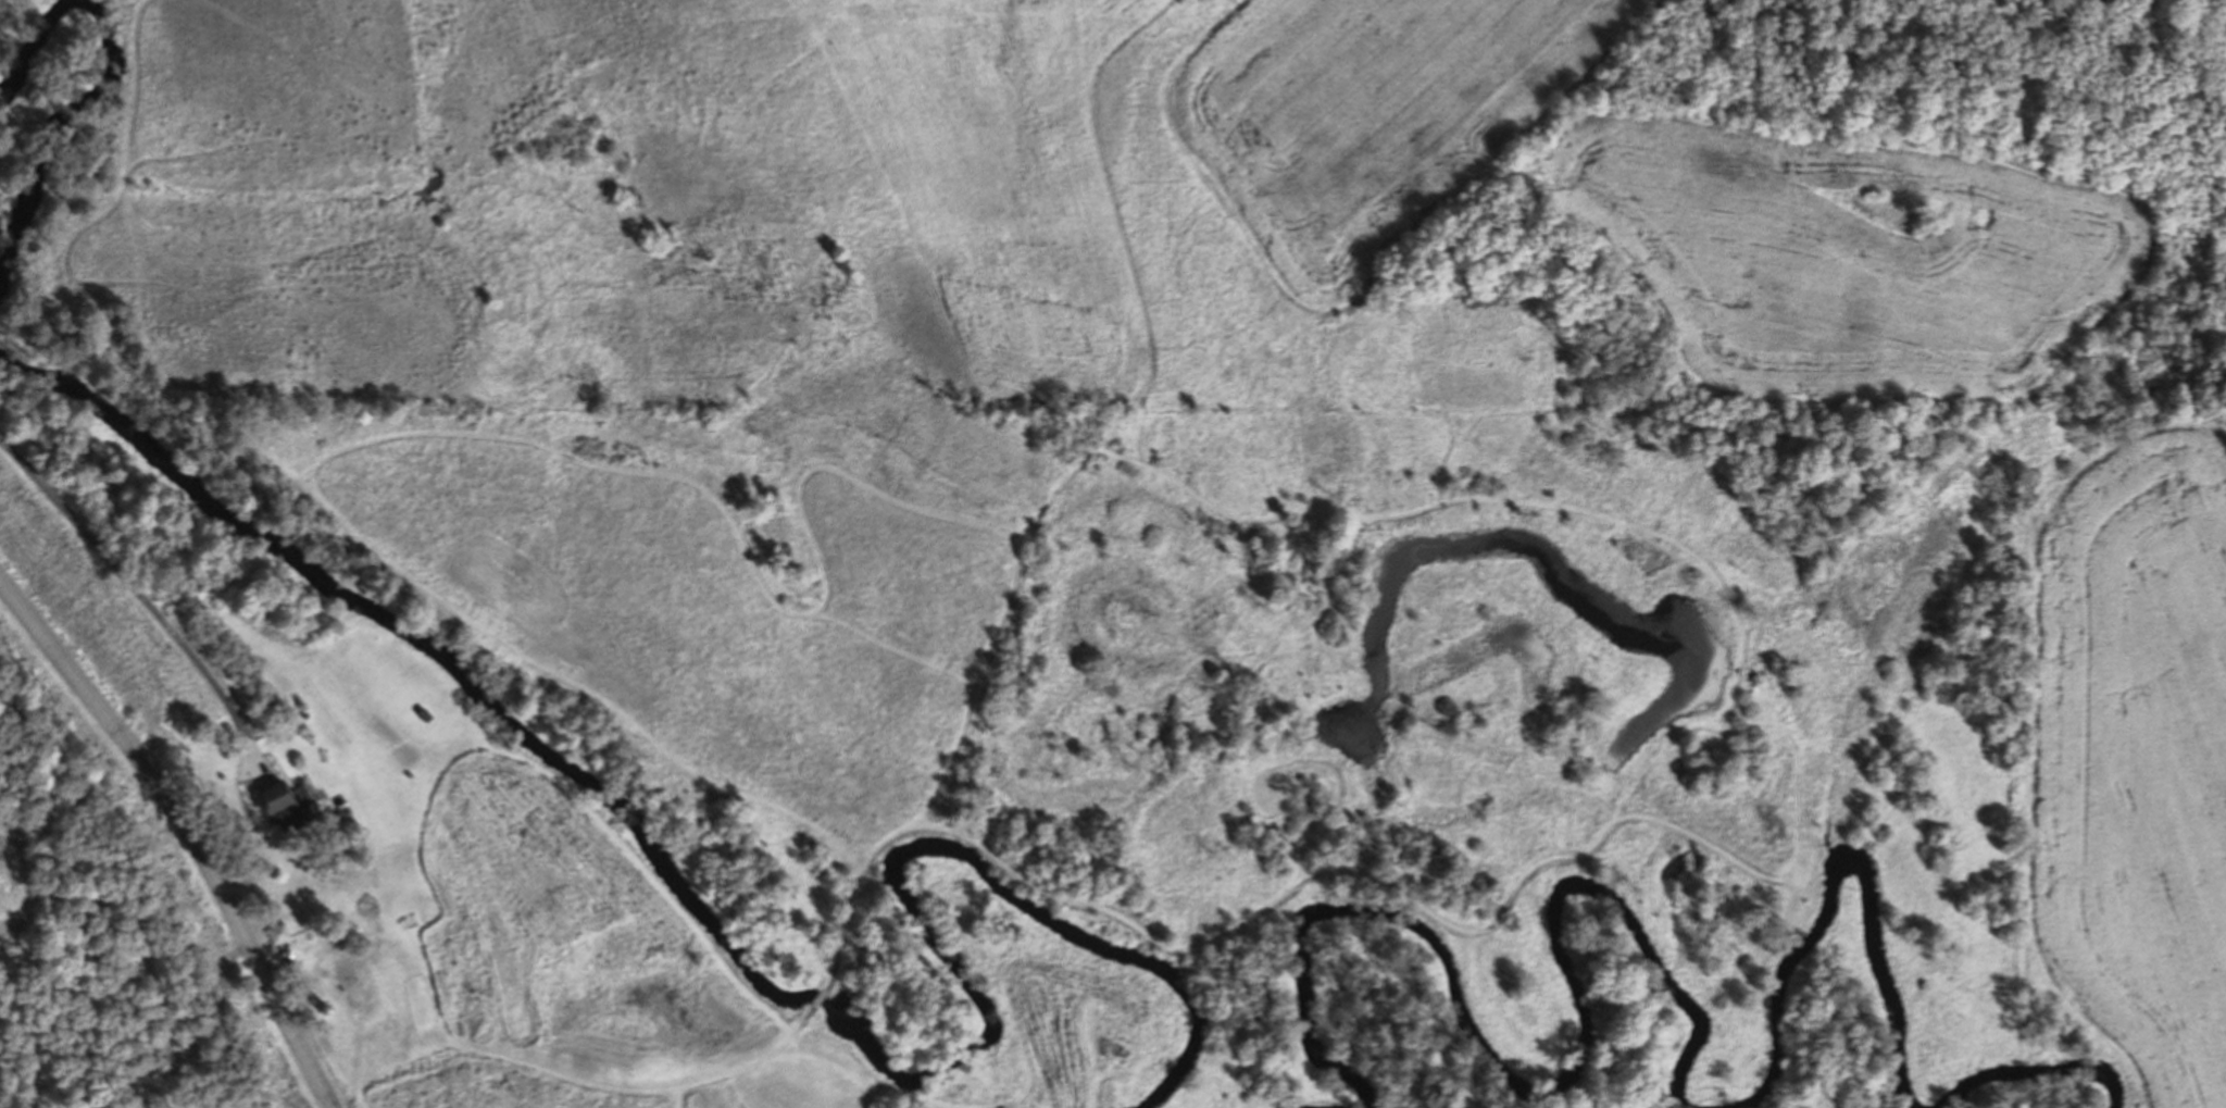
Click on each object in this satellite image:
road: (145, 602)
river: (484, 798)
building: (287, 808)
road: (185, 835)
building: (282, 933)
river: (1677, 1025)

